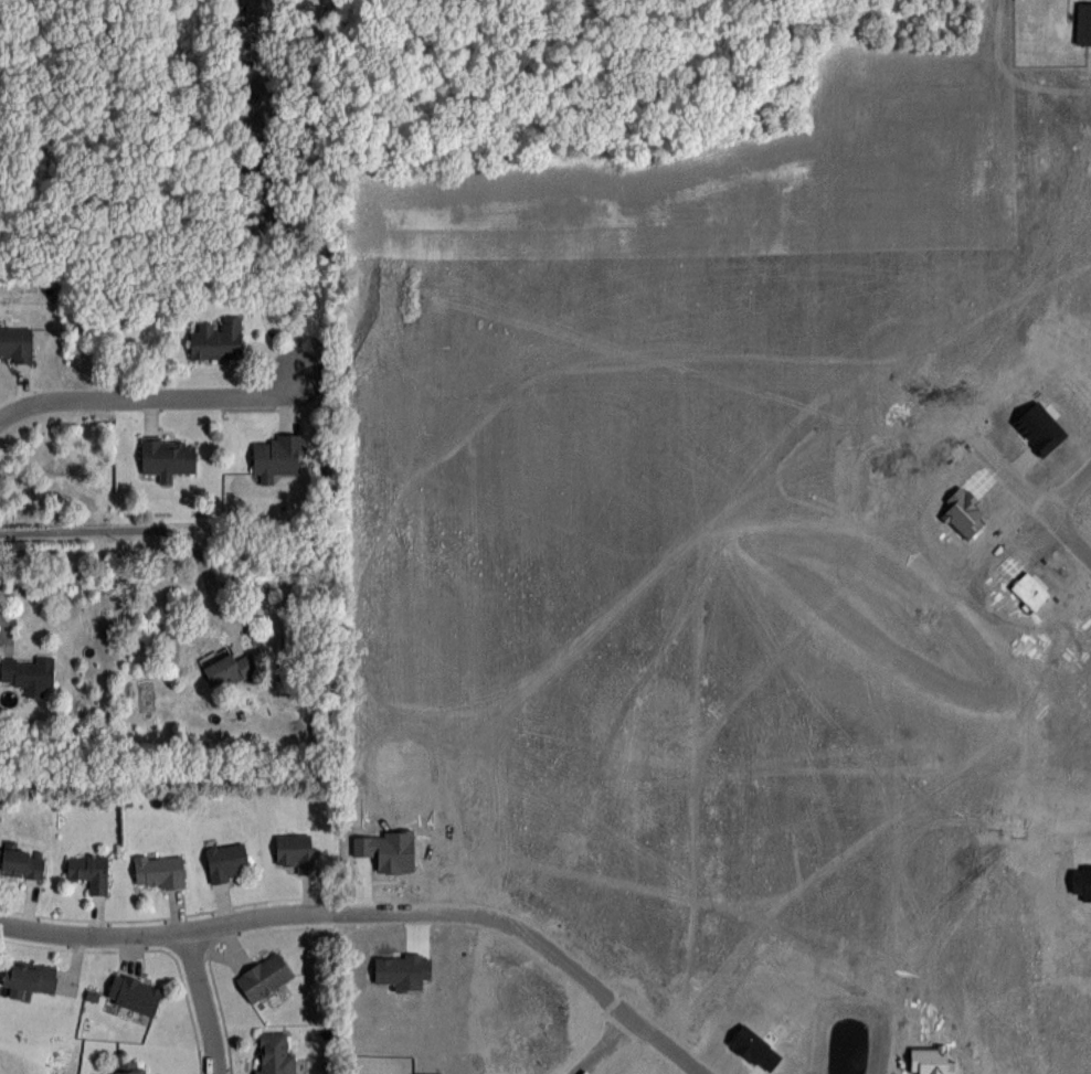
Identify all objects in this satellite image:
building: (216, 340)
building: (15, 343)
road: (150, 398)
building: (275, 458)
building: (167, 459)
road: (1013, 472)
road: (1071, 491)
road: (148, 527)
road: (1071, 531)
road: (6, 628)
building: (227, 669)
building: (29, 673)
road: (1035, 823)
building: (296, 851)
building: (226, 861)
building: (22, 862)
building: (159, 871)
building: (89, 872)
road: (165, 933)
road: (540, 936)
building: (30, 976)
building: (264, 977)
building: (134, 993)
road: (203, 1002)
road: (604, 1043)
building: (275, 1054)
building: (127, 1066)

